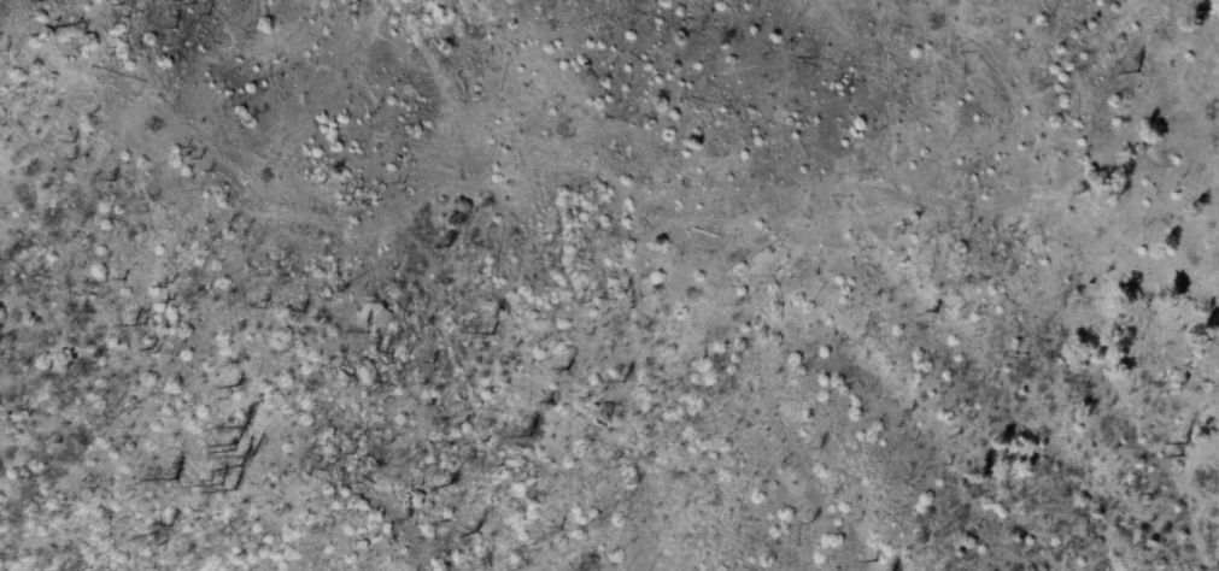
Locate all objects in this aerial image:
park: (8, 13)

